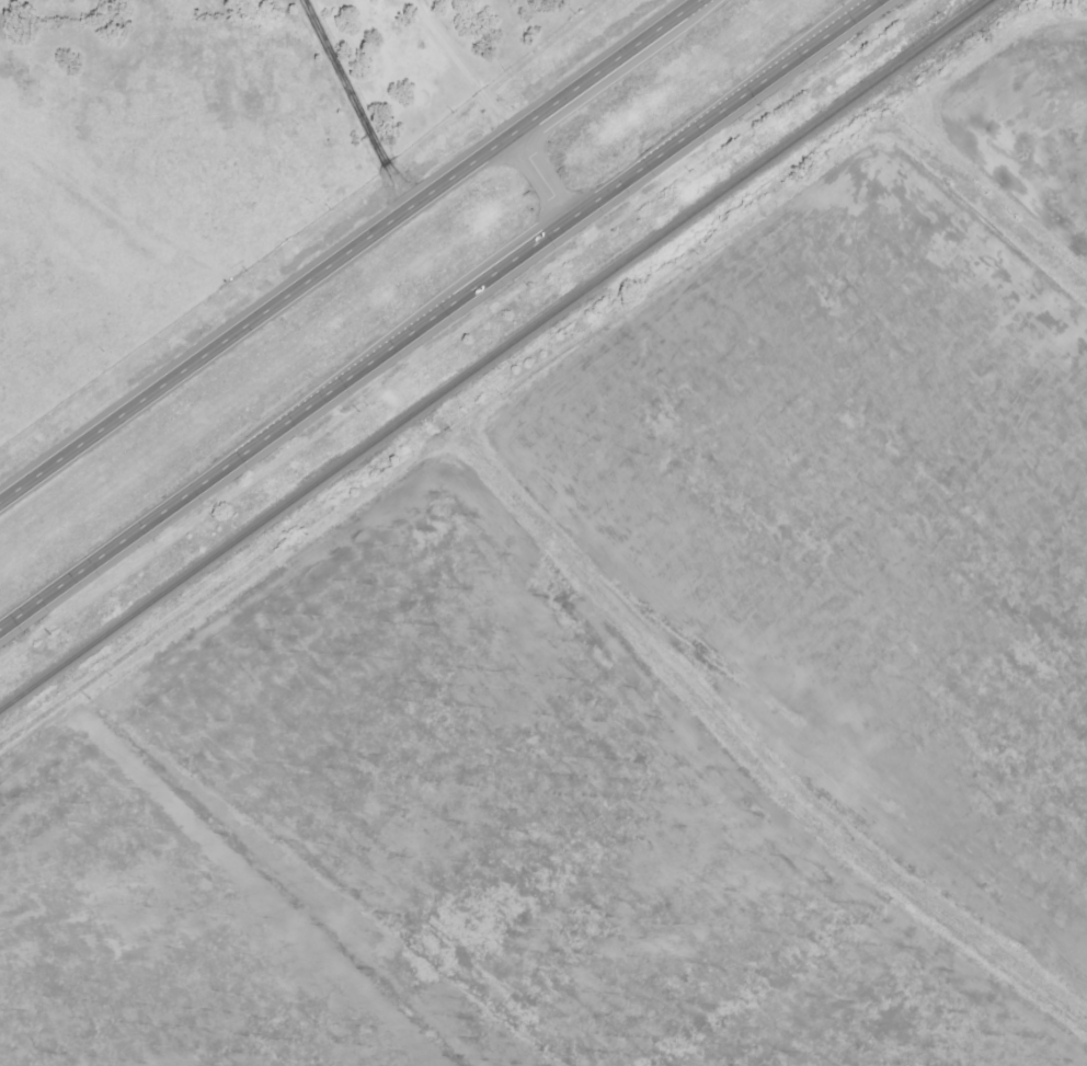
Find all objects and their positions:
road: (361, 105)
road: (543, 177)
road: (353, 253)
road: (437, 316)
railway: (493, 353)

